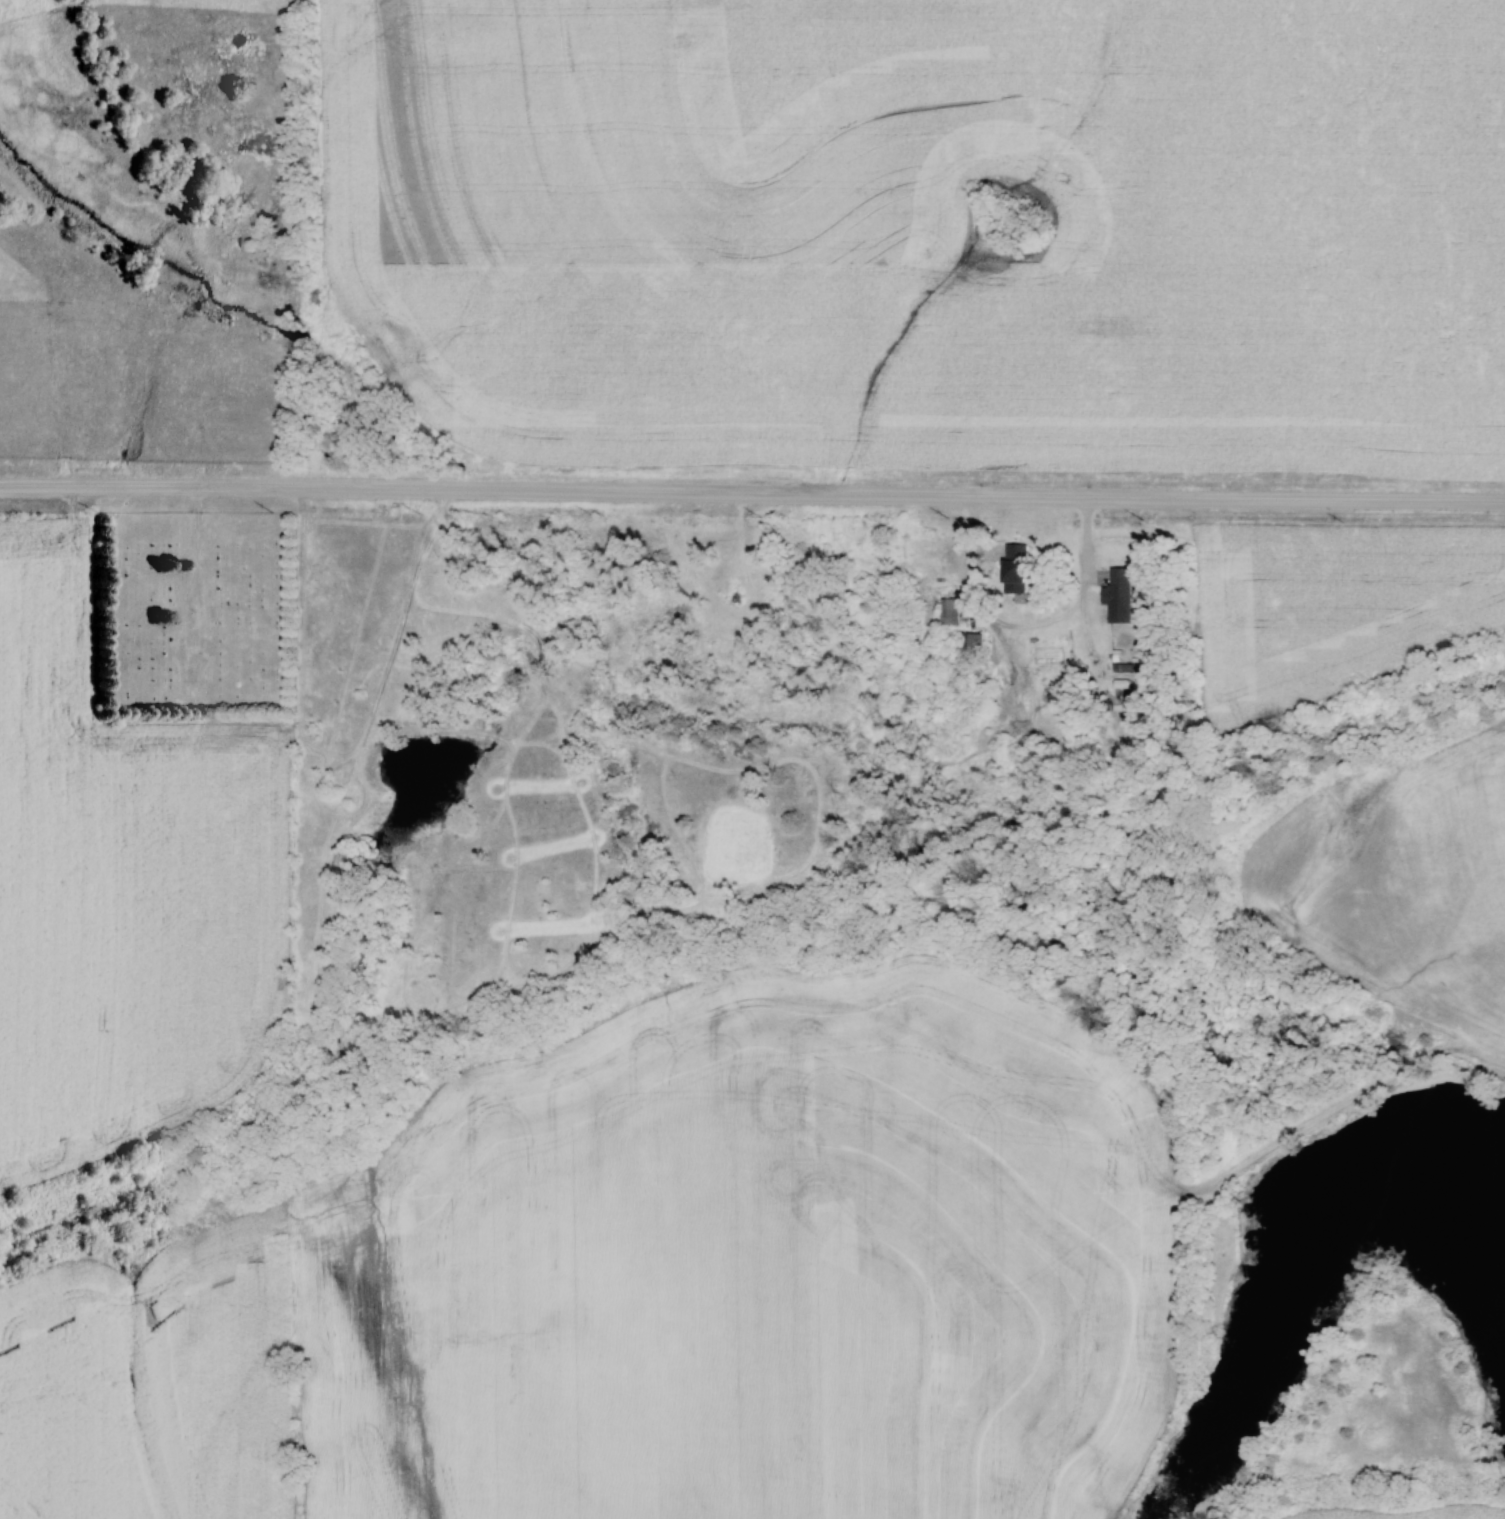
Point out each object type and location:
road: (752, 497)
road: (198, 527)
building: (1017, 568)
building: (1119, 596)
crop: (1334, 607)
park: (193, 609)
building: (949, 614)
building: (971, 642)
building: (1124, 668)
crop: (122, 888)
crop: (1460, 1510)

